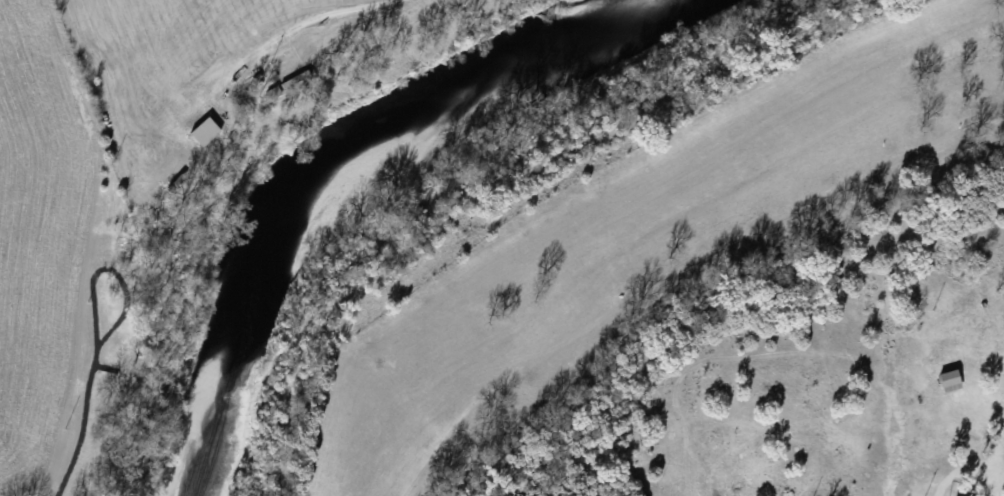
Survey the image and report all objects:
building: (207, 131)
river: (312, 160)
building: (945, 377)
road: (88, 396)
building: (1003, 465)
road: (941, 491)

